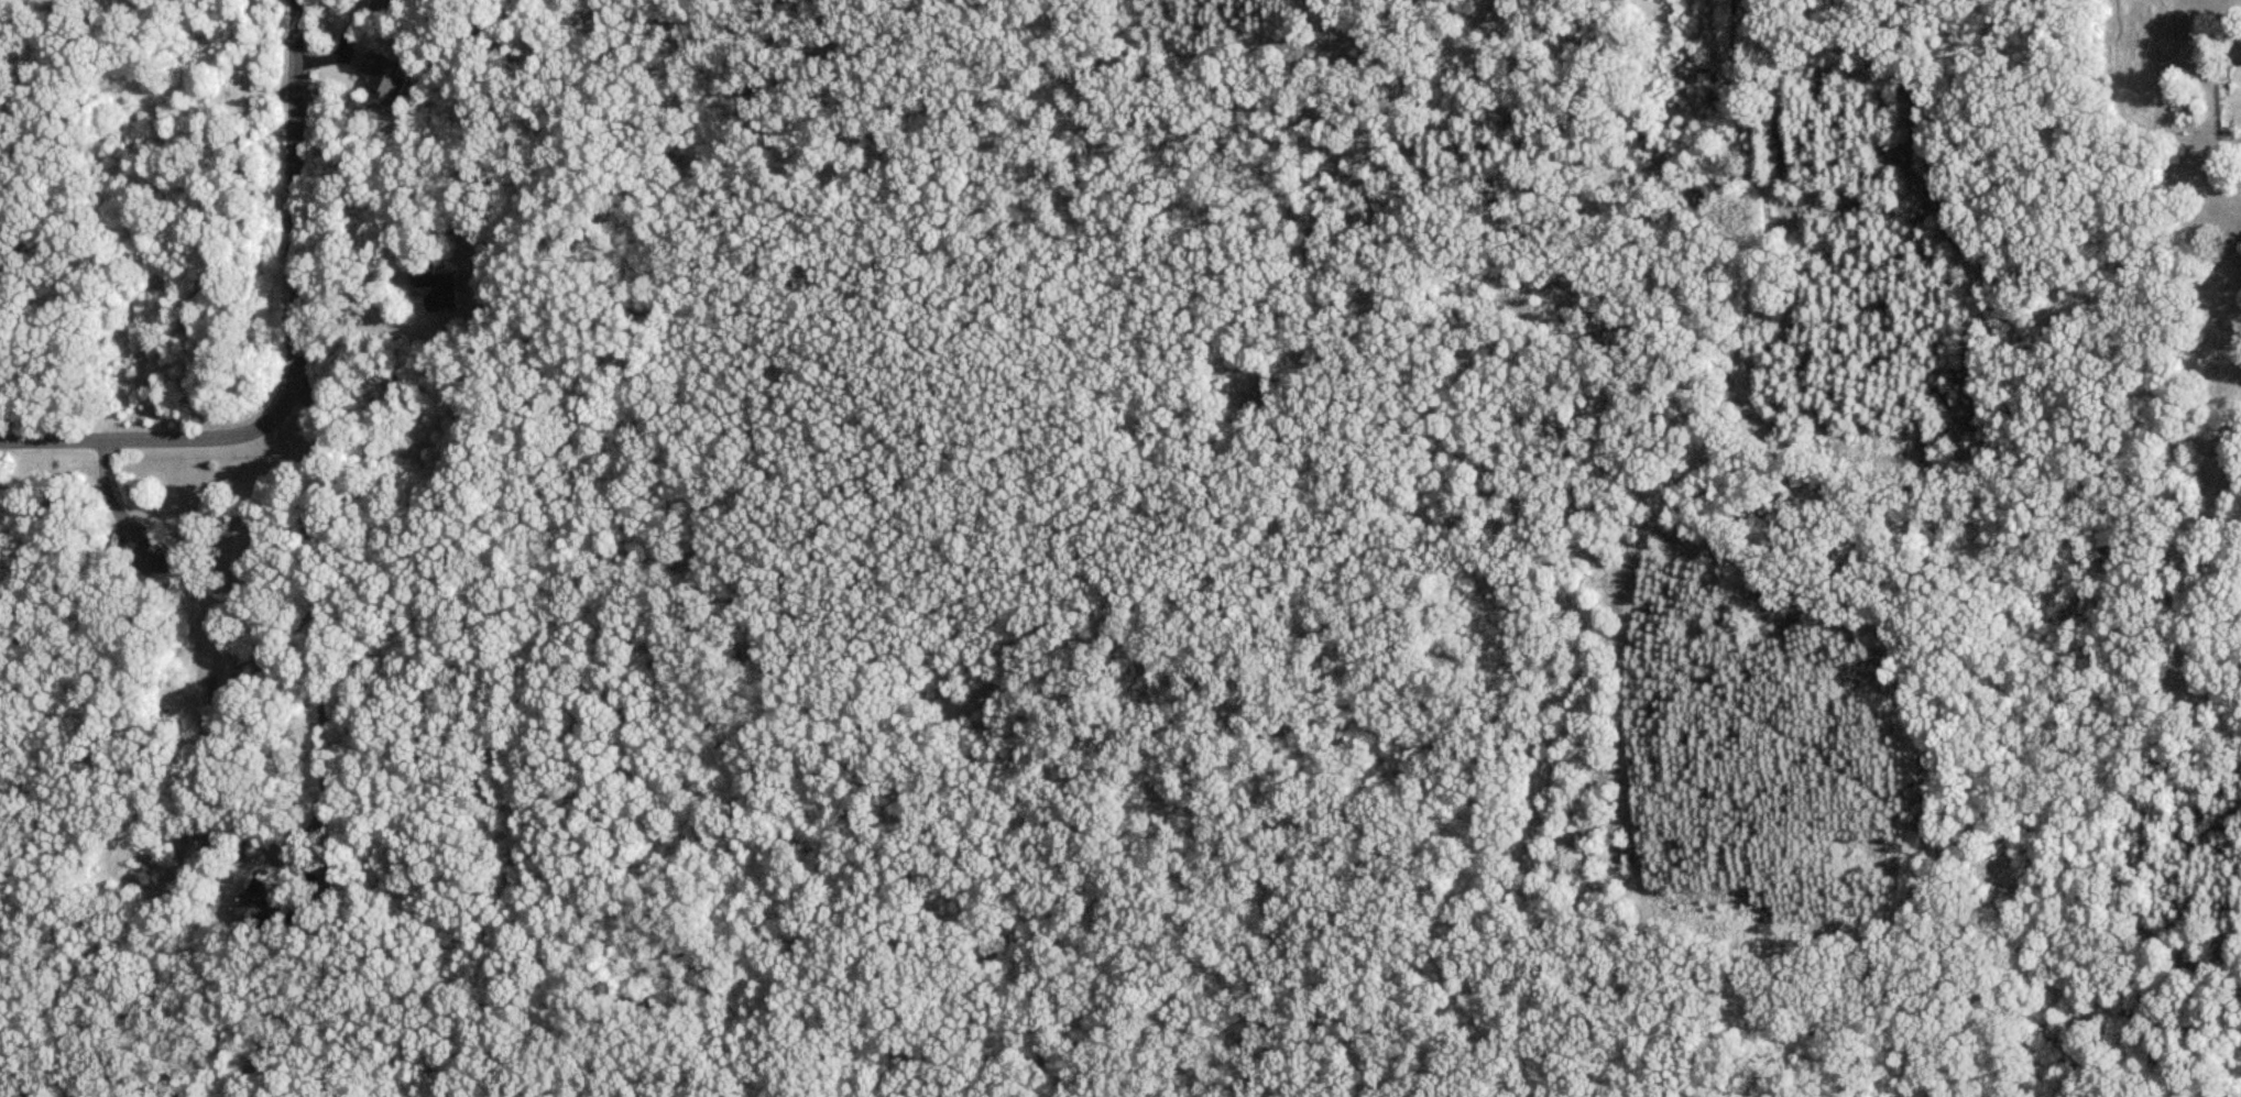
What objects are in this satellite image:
building: (383, 80)
building: (433, 288)
road: (295, 349)
building: (156, 562)
road: (319, 613)
building: (260, 907)

